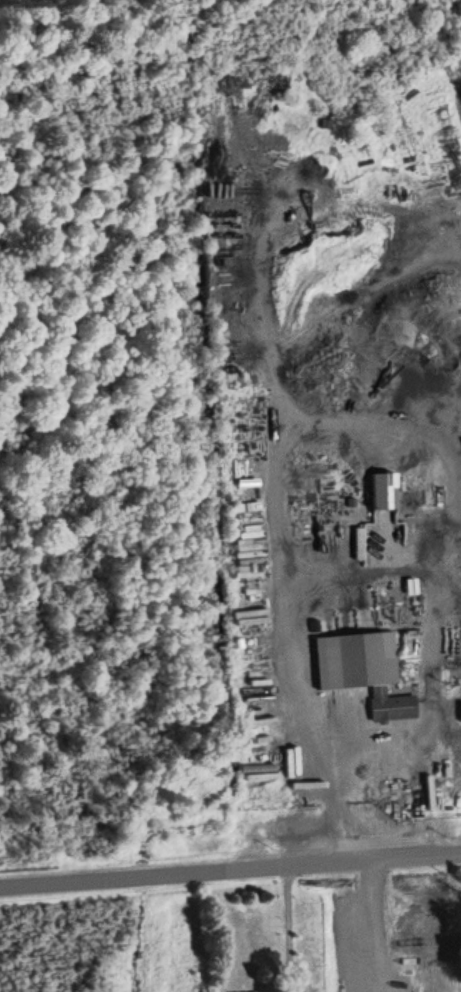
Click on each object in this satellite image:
building: (245, 509)
building: (457, 637)
building: (409, 644)
building: (362, 669)
road: (230, 869)

